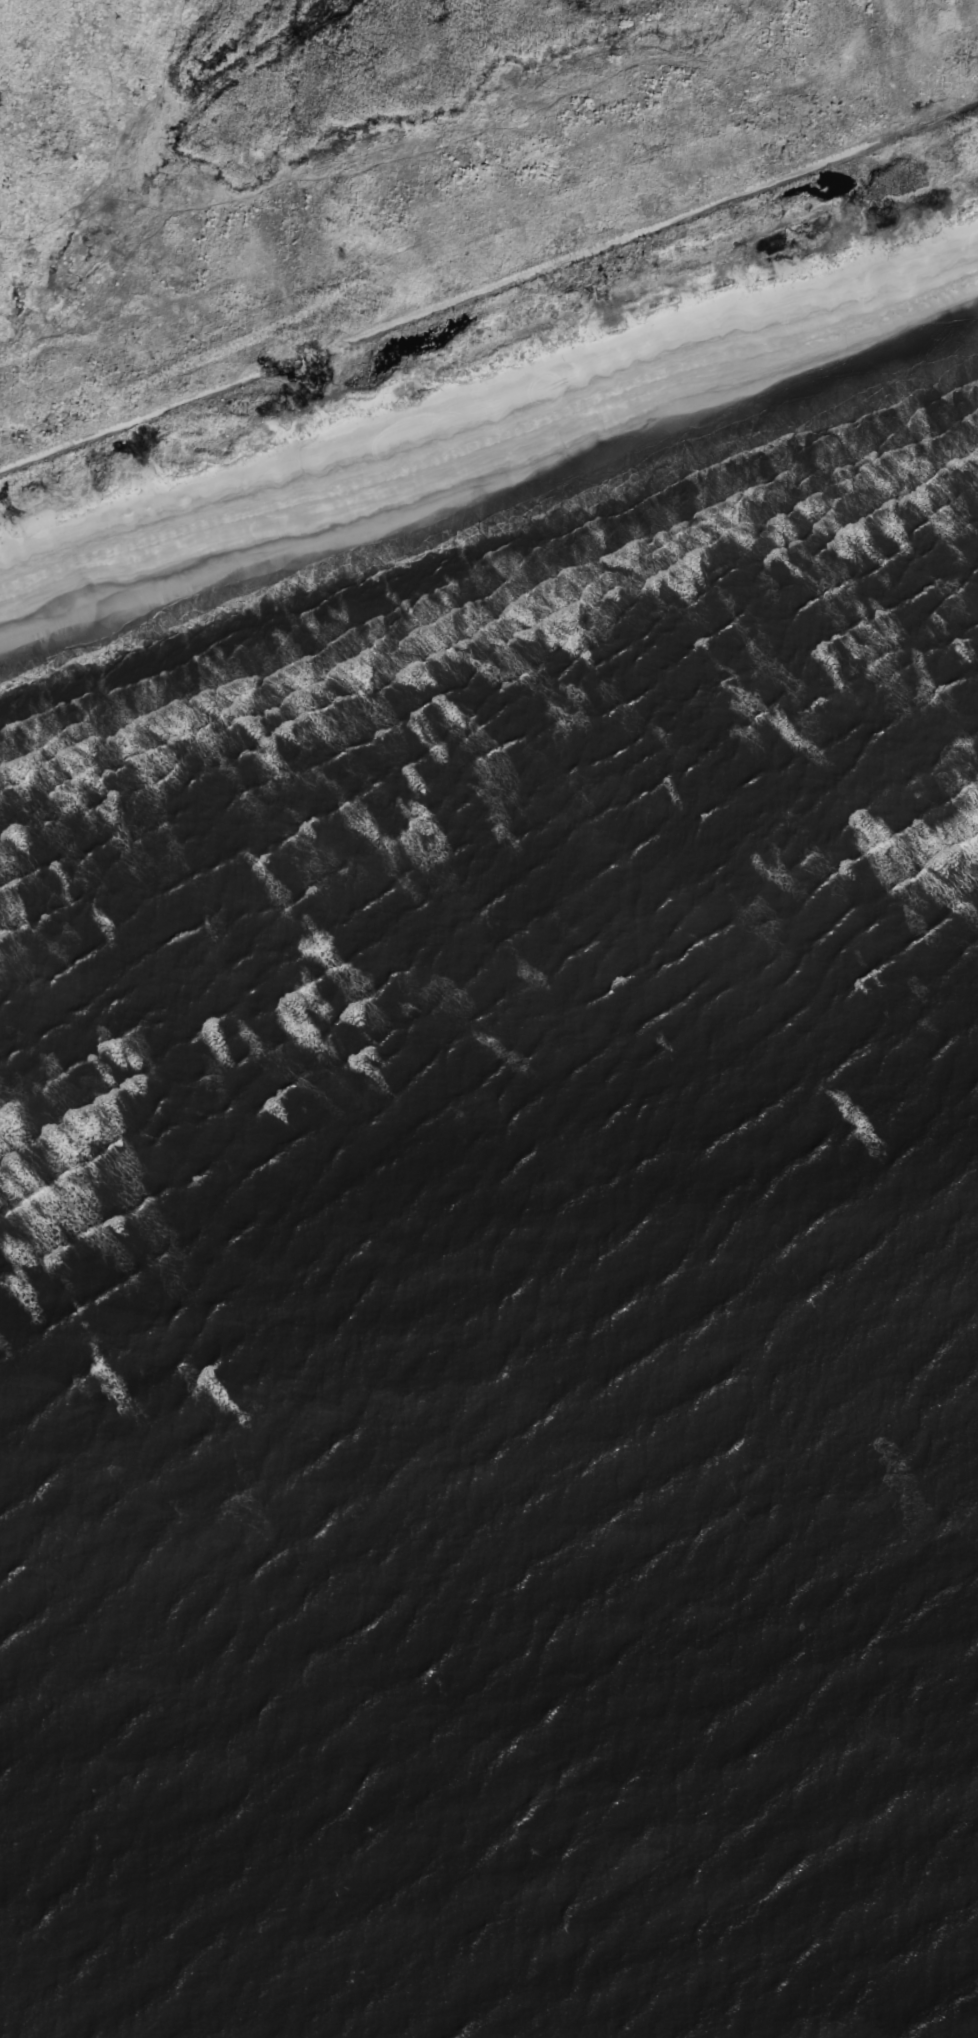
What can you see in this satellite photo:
road: (489, 289)

